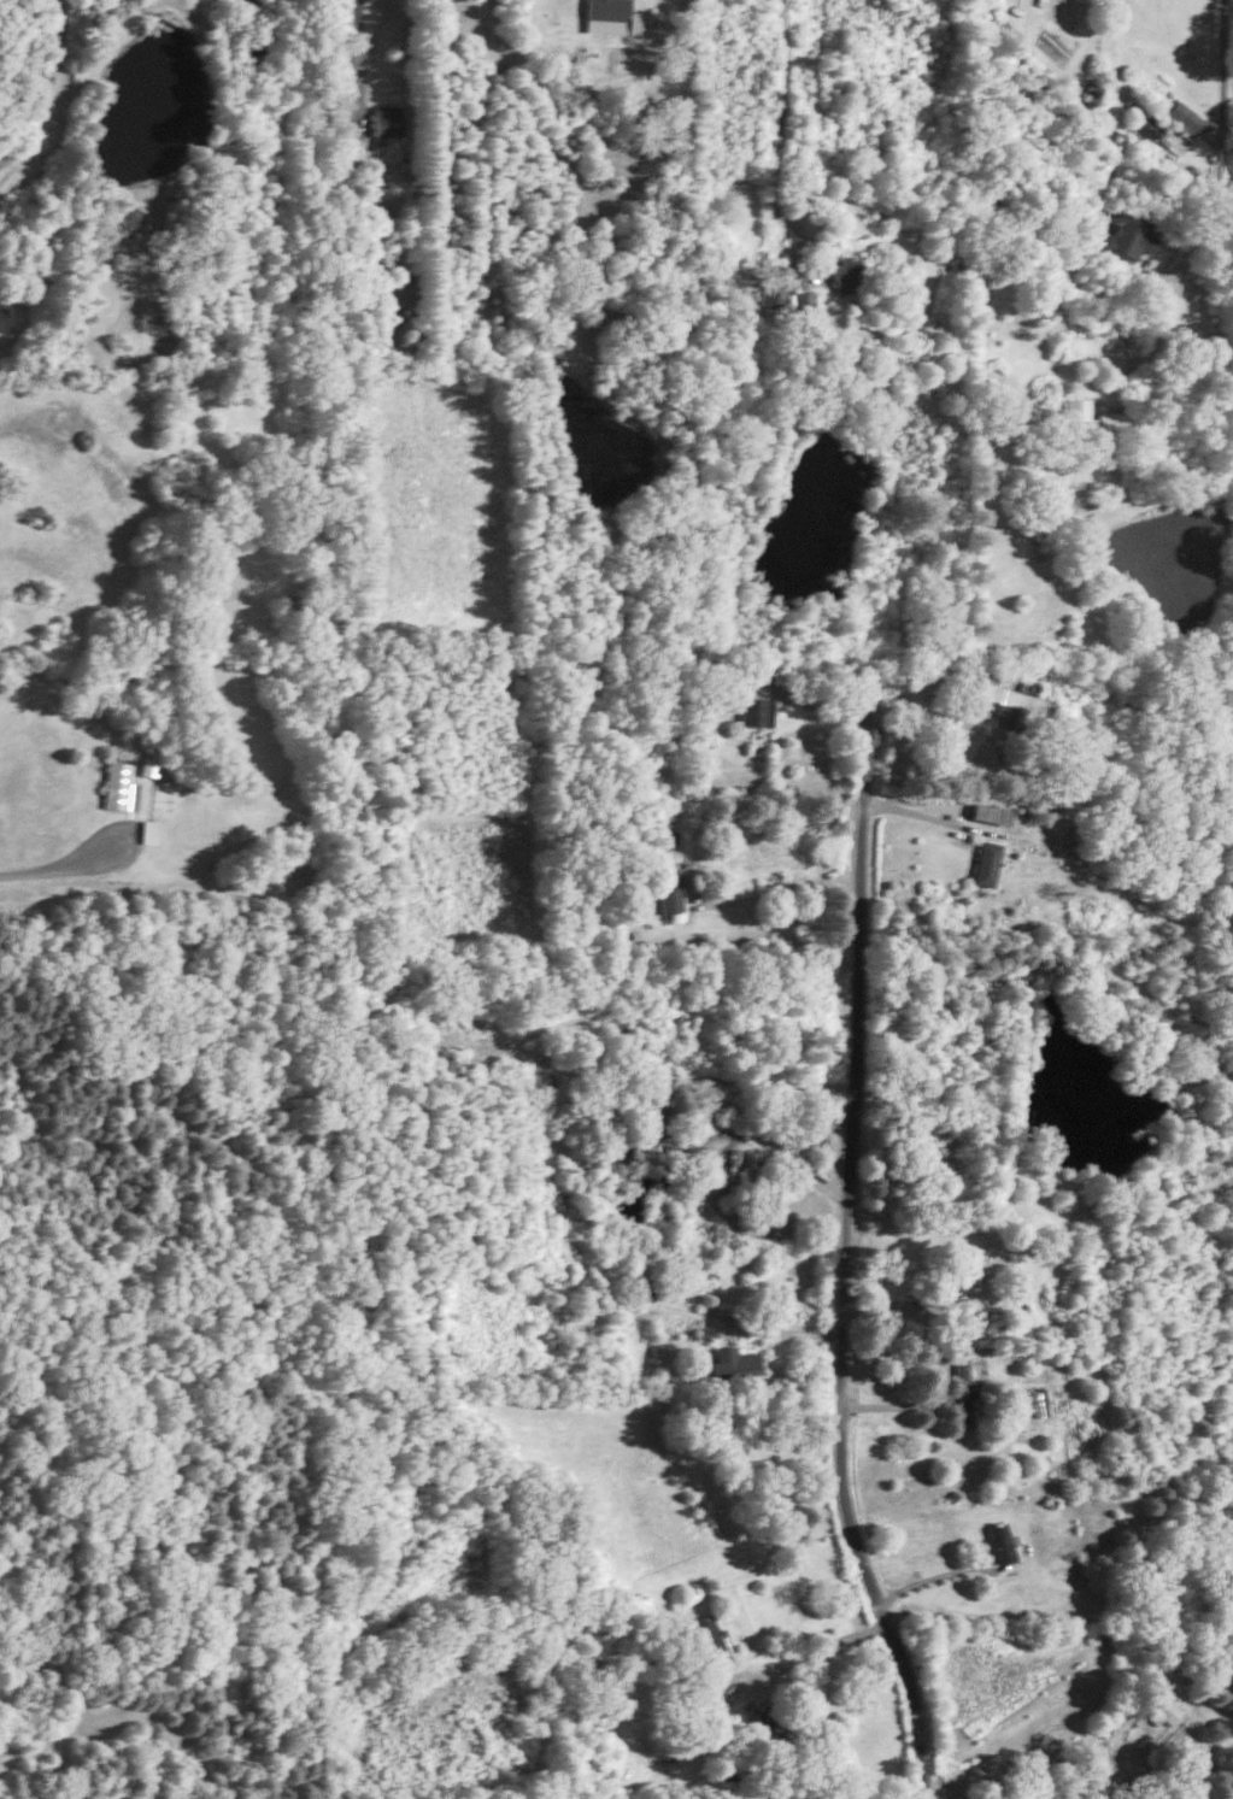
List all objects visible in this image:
building: (613, 17)
road: (356, 39)
road: (54, 95)
road: (782, 113)
building: (1181, 118)
building: (384, 123)
road: (13, 174)
road: (1216, 196)
building: (1129, 239)
building: (847, 274)
building: (774, 296)
building: (802, 300)
building: (5, 314)
building: (1093, 418)
building: (1028, 686)
building: (1016, 705)
building: (756, 711)
building: (148, 762)
building: (121, 786)
building: (990, 812)
building: (149, 830)
building: (986, 863)
road: (59, 865)
building: (670, 892)
road: (780, 892)
building: (732, 1166)
road: (846, 1280)
building: (733, 1366)
building: (962, 1392)
building: (1039, 1401)
building: (1000, 1542)
road: (928, 1576)
building: (709, 1638)
road: (811, 1651)
building: (1163, 1711)

